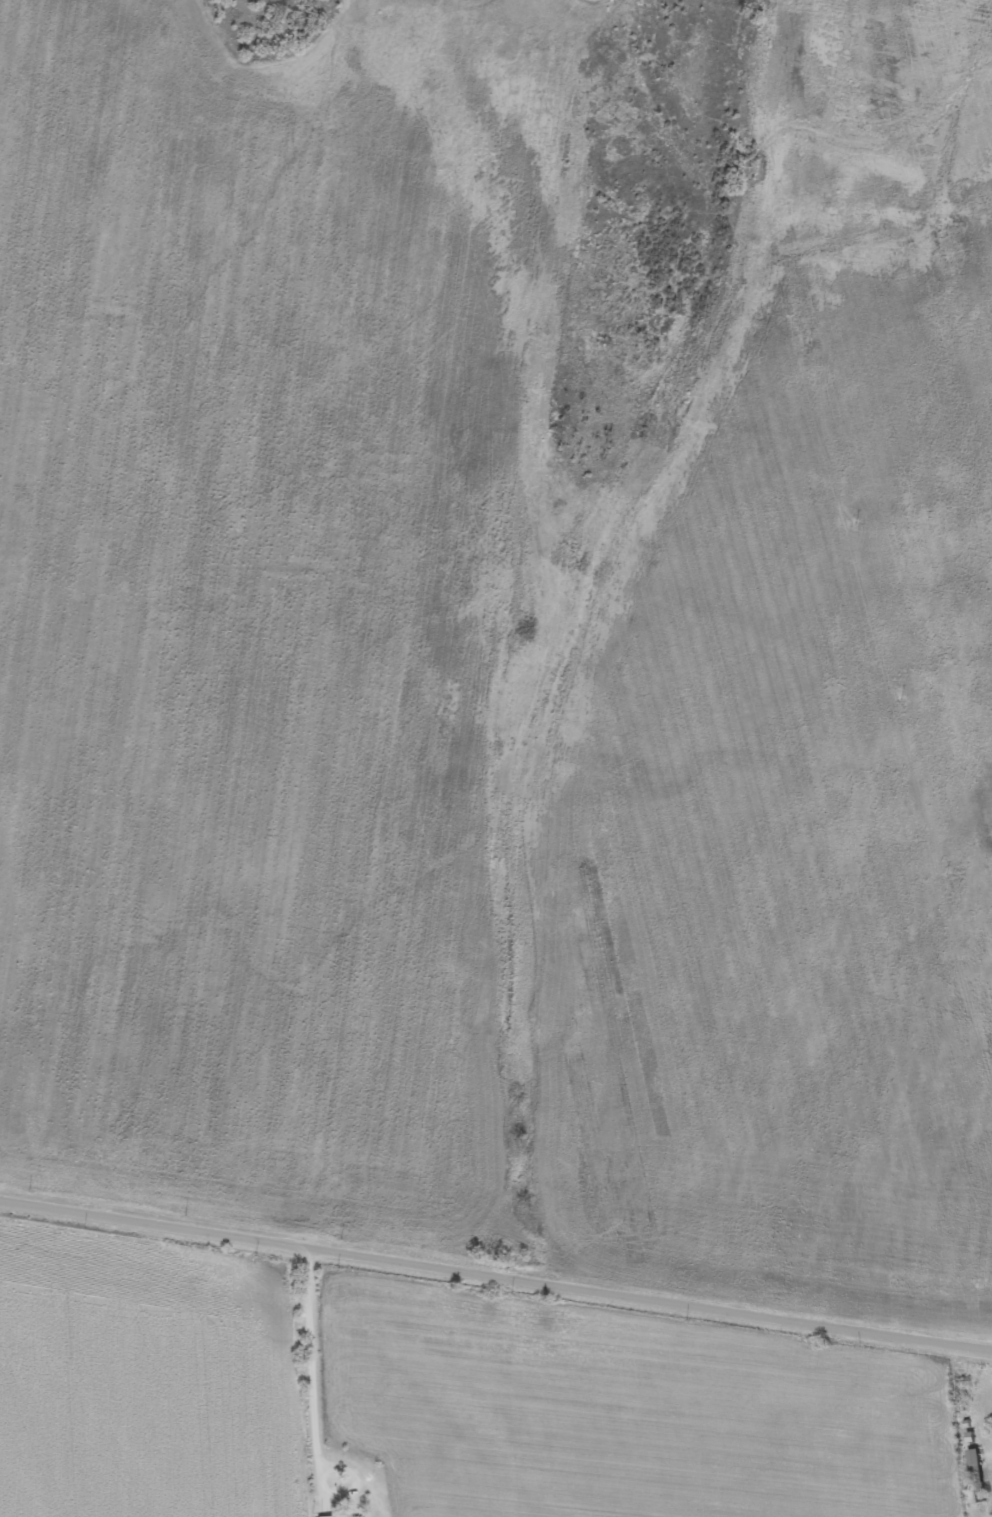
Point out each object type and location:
road: (495, 1275)
road: (309, 1380)

